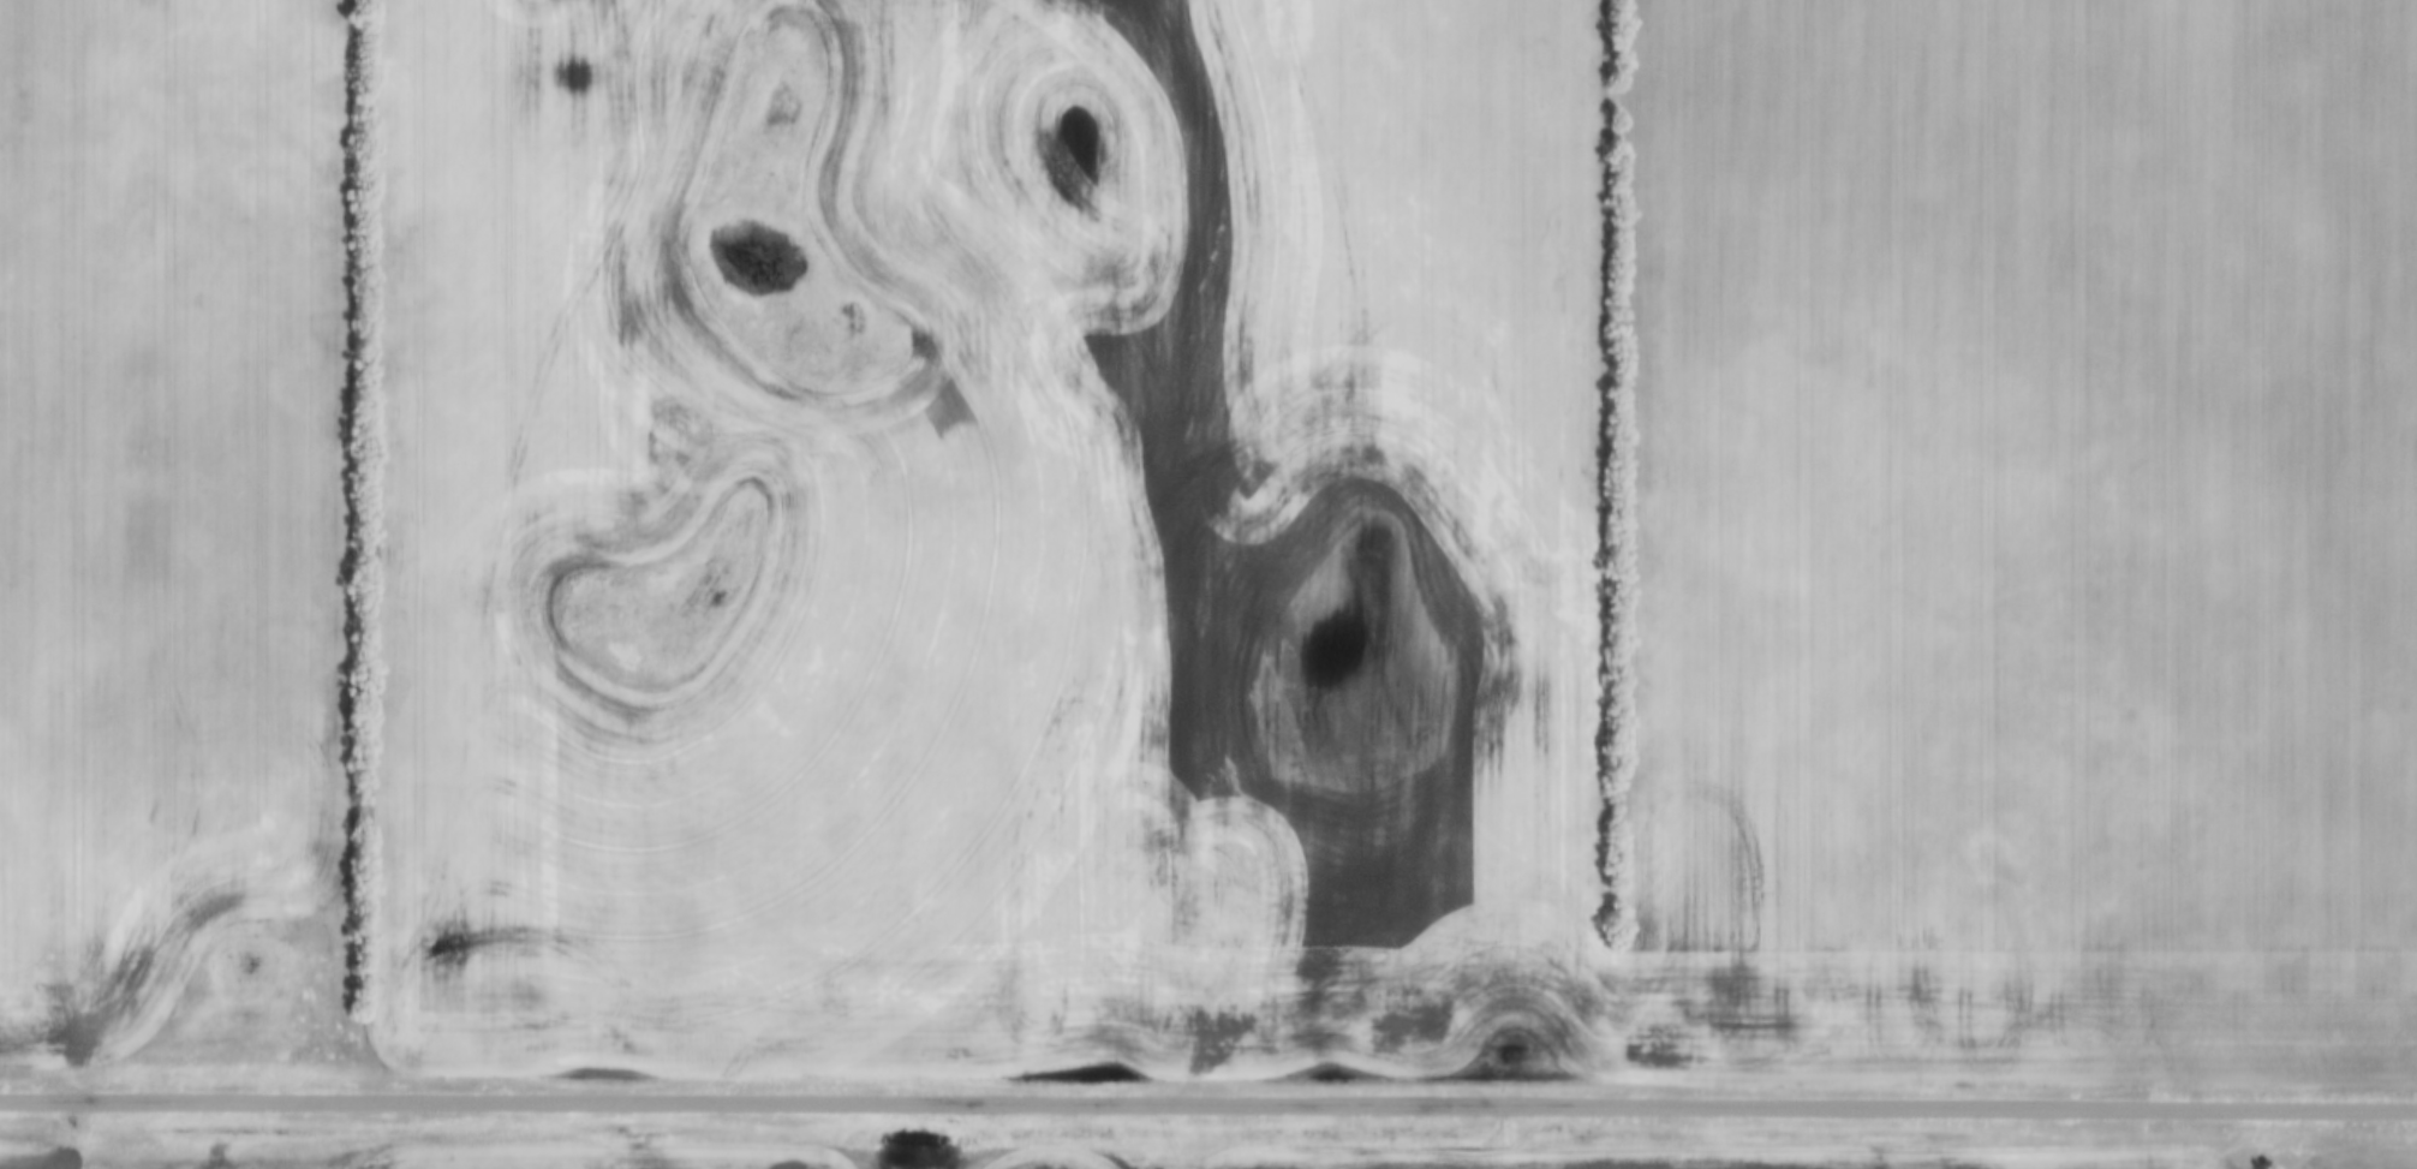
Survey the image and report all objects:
road: (1208, 1101)

